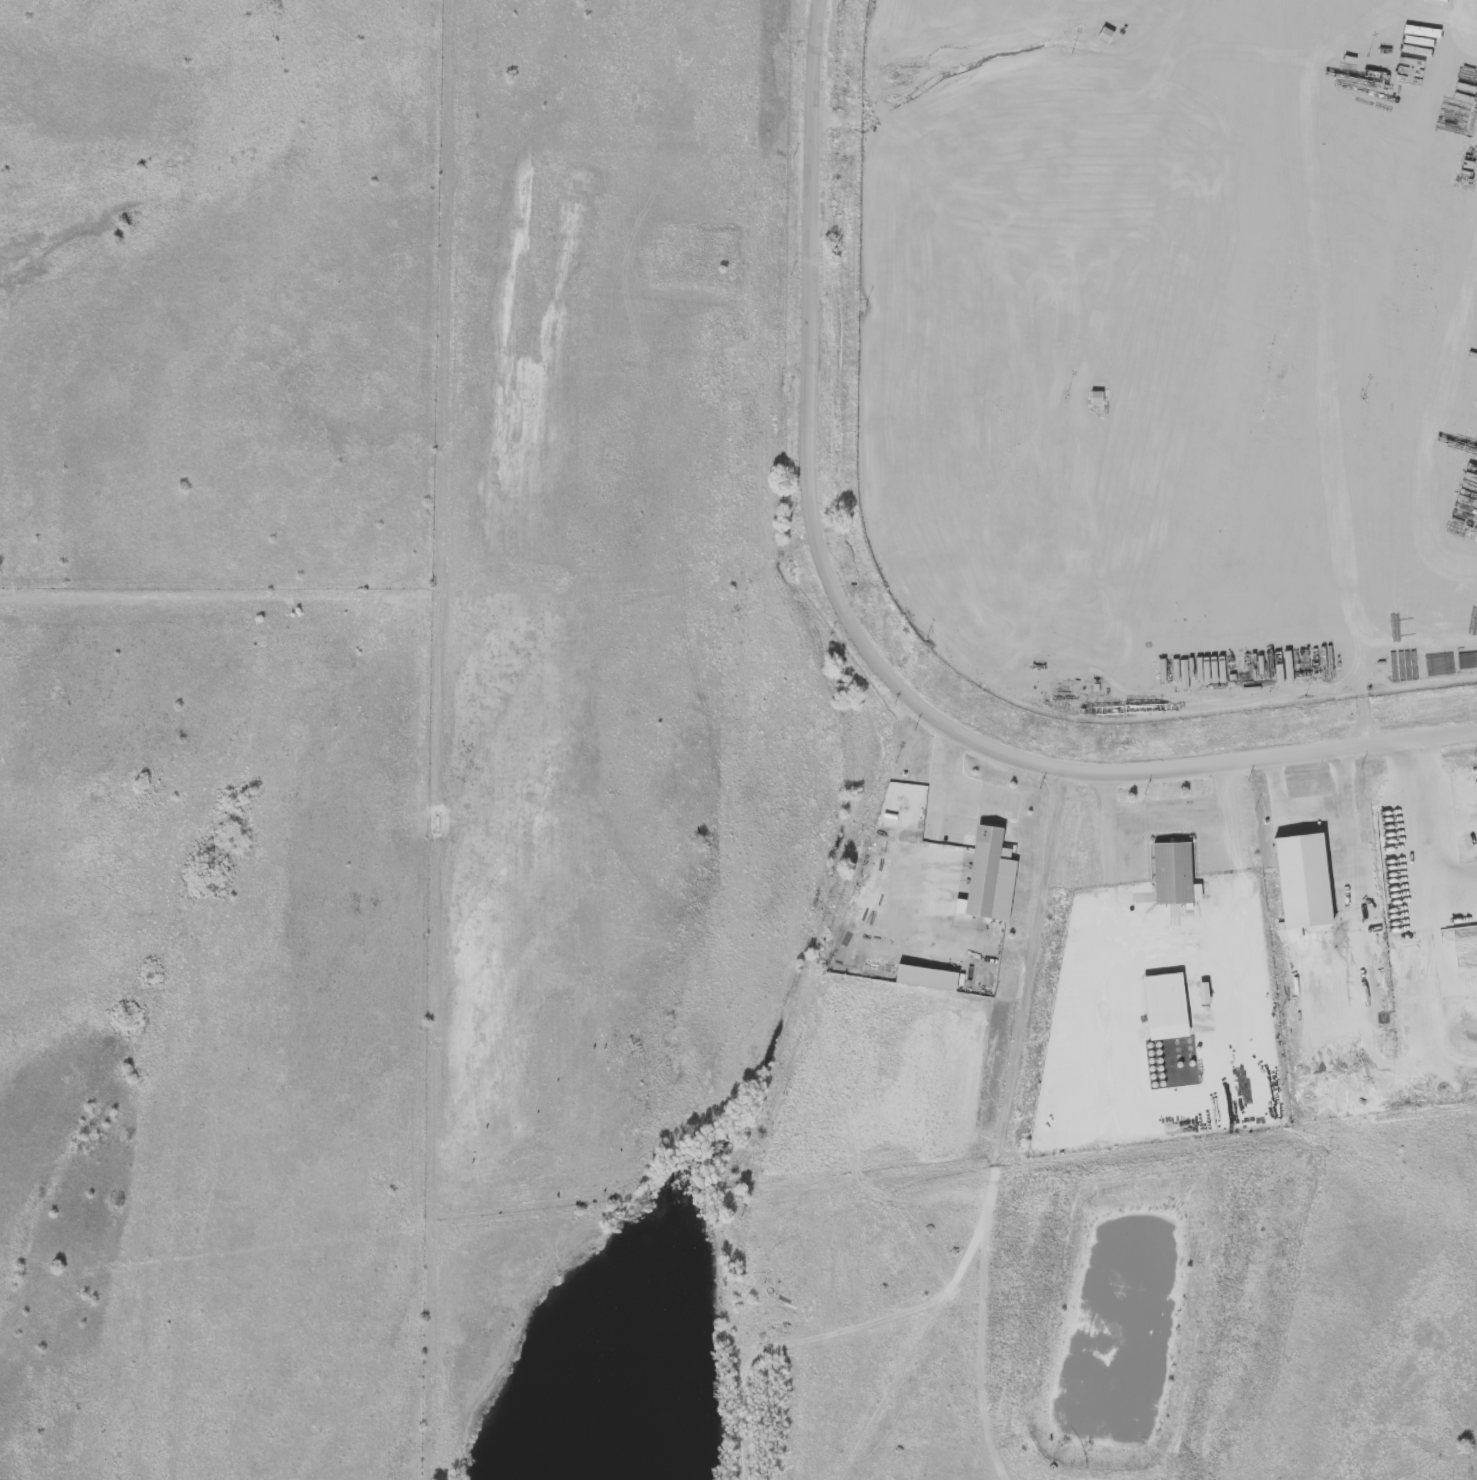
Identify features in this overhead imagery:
road: (862, 647)
road: (1306, 808)
road: (1172, 817)
building: (1172, 872)
road: (1031, 961)
building: (1166, 1005)

